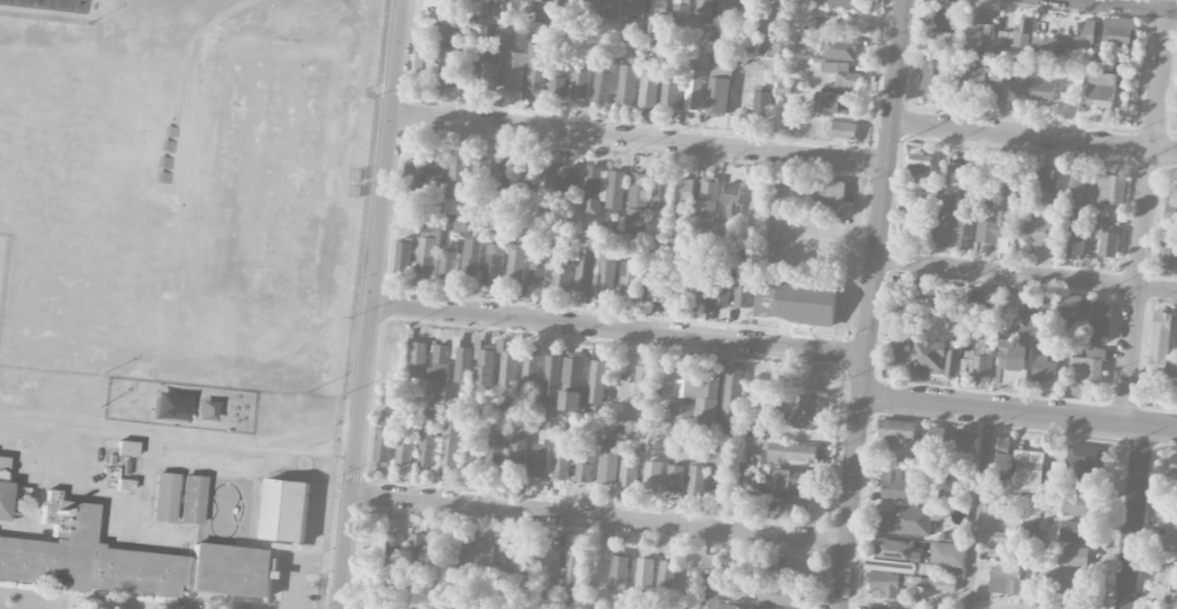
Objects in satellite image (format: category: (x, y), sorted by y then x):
building: (526, 0)
building: (846, 4)
building: (546, 5)
building: (592, 6)
building: (636, 6)
road: (1112, 6)
building: (659, 7)
building: (612, 8)
building: (748, 8)
building: (679, 11)
building: (704, 11)
building: (771, 16)
building: (726, 17)
building: (944, 20)
building: (654, 22)
building: (975, 31)
building: (1119, 31)
building: (1014, 36)
building: (1083, 36)
building: (838, 48)
building: (1048, 48)
building: (425, 60)
building: (720, 63)
building: (469, 65)
building: (537, 69)
building: (492, 70)
building: (928, 70)
building: (447, 72)
building: (843, 75)
building: (971, 75)
building: (514, 78)
building: (557, 82)
building: (943, 82)
building: (579, 84)
building: (626, 84)
building: (602, 87)
building: (1002, 87)
building: (648, 90)
building: (694, 90)
building: (1040, 90)
building: (1101, 90)
building: (671, 93)
building: (718, 95)
building: (763, 102)
building: (832, 102)
building: (845, 130)
road: (1035, 137)
road: (641, 140)
building: (413, 162)
building: (920, 164)
building: (434, 170)
building: (457, 171)
building: (481, 172)
building: (504, 173)
building: (525, 177)
building: (1042, 177)
building: (559, 179)
building: (594, 188)
building: (1024, 188)
building: (616, 189)
building: (661, 189)
building: (1111, 189)
building: (684, 190)
building: (829, 191)
building: (1076, 193)
building: (731, 199)
building: (637, 202)
building: (706, 205)
building: (1172, 205)
building: (455, 207)
road: (1144, 212)
building: (918, 219)
building: (949, 220)
building: (1034, 227)
building: (991, 229)
building: (964, 233)
building: (1076, 238)
building: (1108, 244)
building: (402, 255)
building: (1169, 255)
building: (425, 256)
building: (470, 259)
building: (449, 260)
building: (494, 264)
building: (514, 266)
building: (606, 271)
building: (536, 272)
building: (561, 273)
road: (1026, 274)
building: (675, 278)
building: (630, 280)
building: (699, 280)
building: (651, 284)
building: (720, 289)
building: (743, 292)
building: (901, 301)
building: (795, 302)
building: (1010, 303)
road: (372, 304)
road: (872, 304)
building: (984, 304)
building: (1069, 308)
building: (1038, 320)
building: (1100, 323)
road: (620, 330)
building: (1159, 343)
building: (895, 357)
building: (929, 357)
building: (418, 360)
building: (953, 362)
building: (979, 362)
building: (1012, 362)
building: (440, 365)
building: (485, 366)
building: (1087, 367)
building: (508, 368)
building: (1044, 368)
building: (530, 369)
building: (1172, 378)
building: (551, 382)
building: (572, 382)
building: (598, 382)
building: (642, 382)
building: (437, 394)
building: (707, 397)
building: (731, 397)
building: (683, 403)
building: (806, 412)
road: (1019, 413)
building: (898, 431)
building: (383, 443)
road: (178, 445)
building: (451, 447)
building: (125, 448)
building: (429, 448)
building: (935, 448)
building: (405, 450)
building: (960, 451)
building: (795, 453)
building: (495, 454)
building: (712, 454)
building: (517, 456)
building: (472, 457)
building: (563, 459)
building: (539, 461)
building: (610, 462)
building: (1084, 463)
building: (584, 465)
building: (1018, 466)
building: (628, 473)
building: (652, 475)
building: (675, 478)
building: (1172, 478)
building: (696, 479)
building: (789, 480)
building: (2, 483)
building: (742, 484)
building: (18, 495)
building: (164, 496)
building: (190, 498)
building: (767, 502)
building: (795, 504)
building: (1079, 504)
building: (901, 508)
road: (978, 509)
building: (284, 510)
road: (1132, 519)
road: (600, 520)
building: (1076, 531)
building: (1004, 537)
building: (1170, 540)
building: (894, 548)
building: (394, 550)
building: (440, 550)
building: (416, 551)
building: (947, 554)
building: (461, 555)
building: (483, 556)
building: (1073, 556)
building: (507, 557)
building: (128, 560)
building: (529, 560)
building: (707, 561)
building: (551, 563)
road: (300, 566)
building: (619, 570)
building: (787, 570)
building: (645, 572)
building: (572, 573)
building: (666, 577)
building: (1006, 580)
building: (1066, 581)
building: (1170, 581)
building: (929, 583)
building: (884, 584)
building: (710, 590)
building: (779, 595)
building: (730, 607)
building: (767, 608)
building: (1169, 608)

